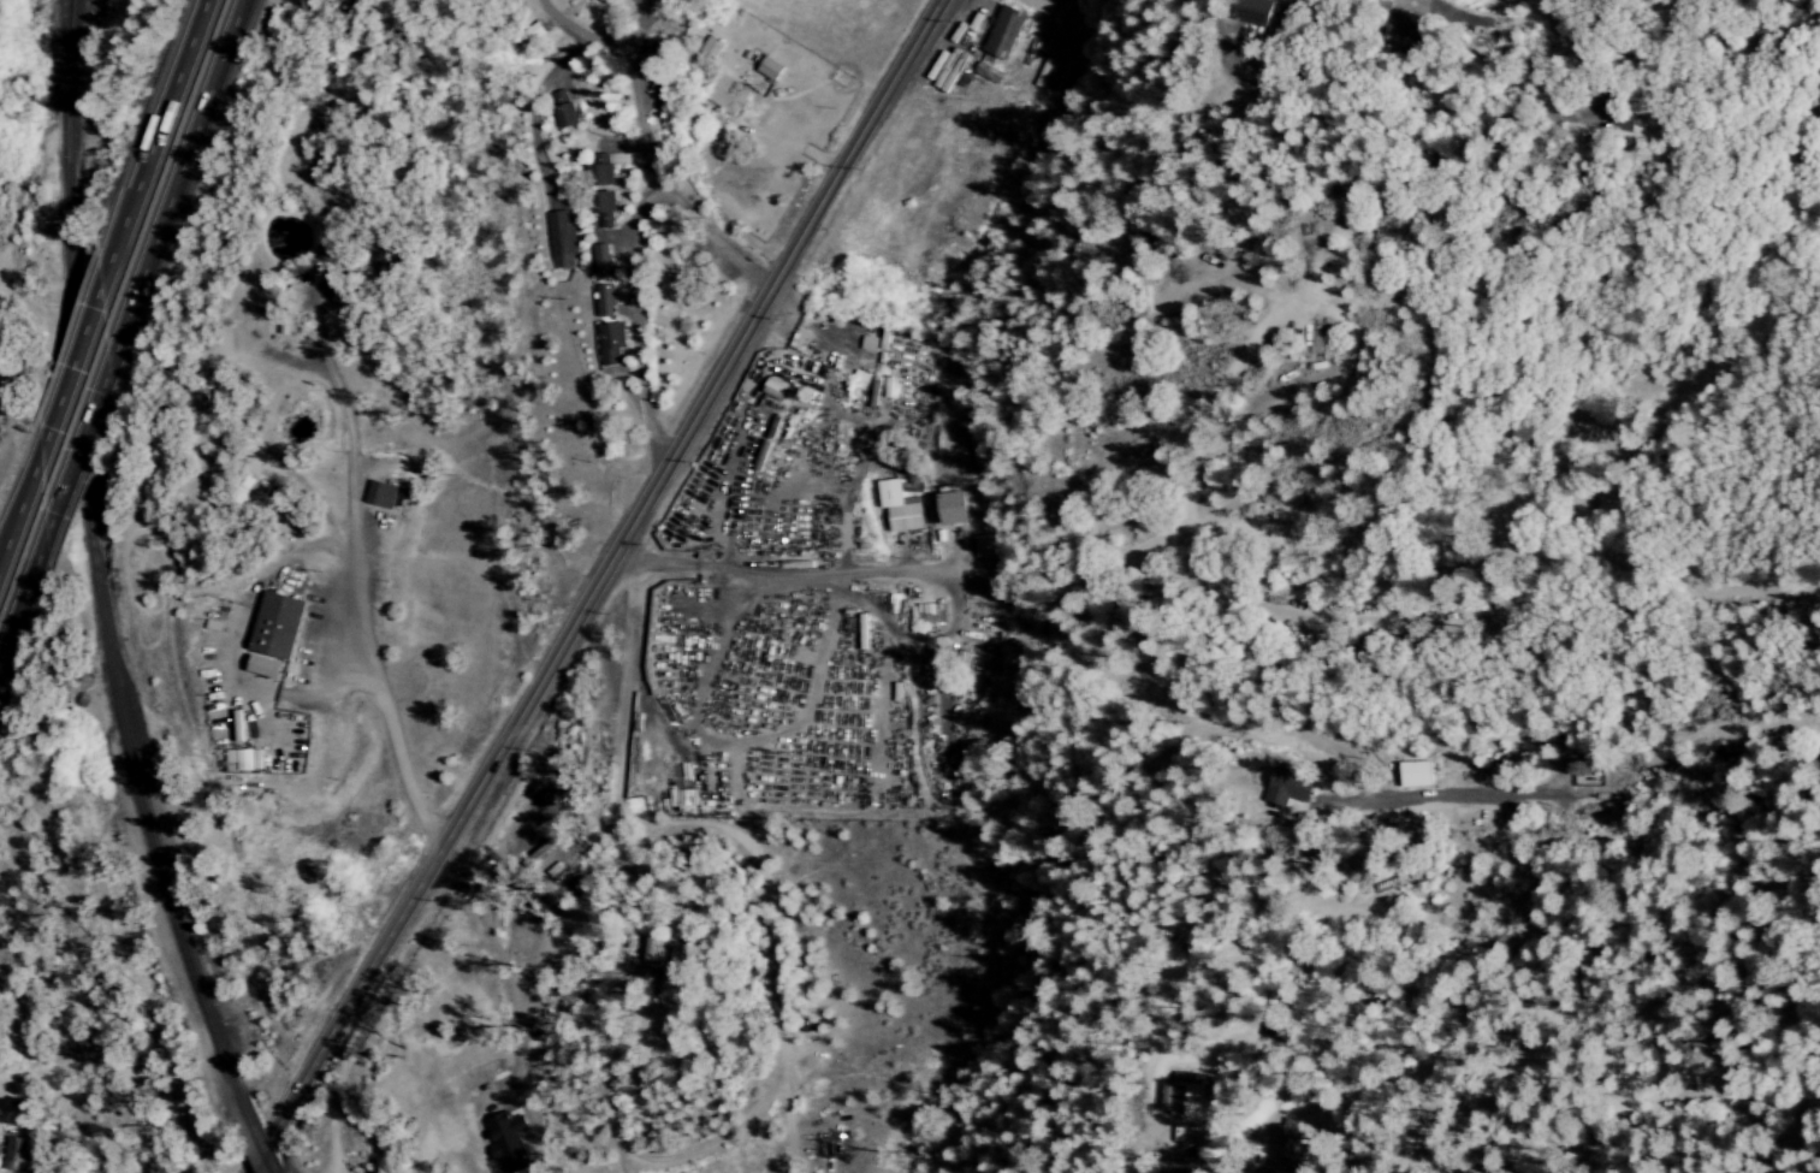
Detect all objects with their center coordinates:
building: (1253, 12)
building: (1004, 32)
road: (586, 43)
building: (711, 47)
building: (770, 69)
building: (988, 72)
building: (728, 95)
road: (171, 97)
building: (564, 111)
road: (195, 162)
building: (603, 189)
building: (559, 239)
road: (626, 253)
building: (604, 302)
road: (79, 339)
building: (610, 344)
road: (693, 416)
road: (84, 458)
building: (380, 496)
building: (899, 506)
building: (954, 509)
road: (12, 521)
railway: (93, 563)
road: (862, 575)
building: (926, 614)
building: (277, 626)
road: (367, 632)
road: (634, 636)
road: (18, 641)
building: (265, 668)
building: (243, 760)
building: (1417, 776)
building: (1291, 787)
road: (396, 920)
building: (658, 952)
road: (498, 959)
building: (678, 979)
road: (292, 1090)
building: (1188, 1101)
railway: (260, 1139)
building: (17, 1155)
road: (1219, 1160)

